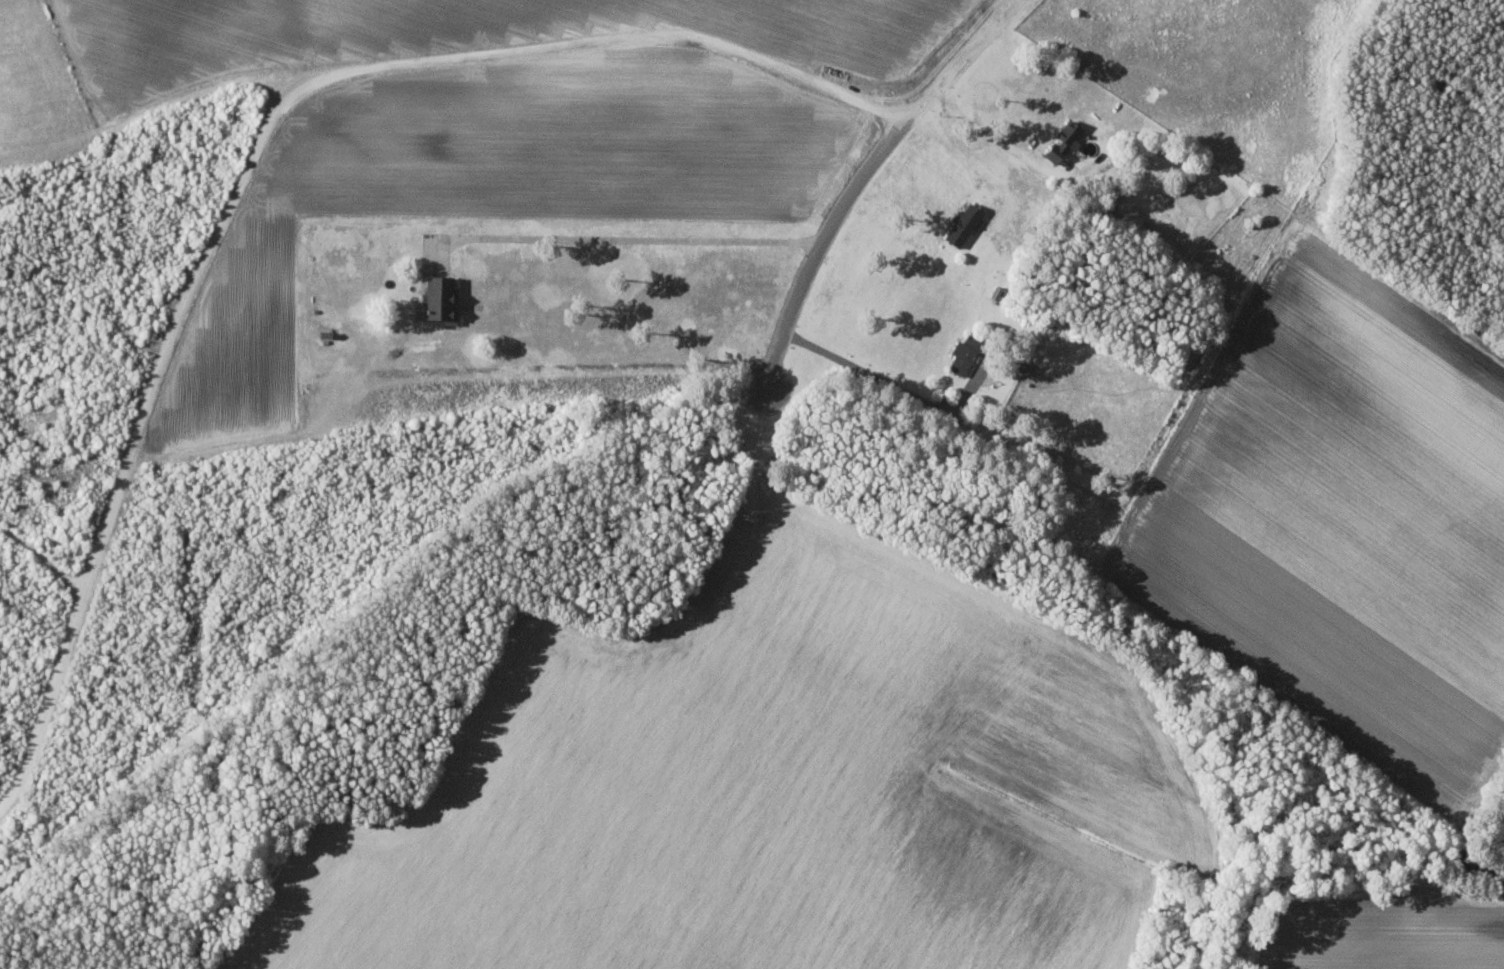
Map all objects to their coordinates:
building: (1062, 142)
road: (251, 161)
road: (864, 175)
building: (961, 224)
road: (635, 232)
building: (439, 303)
building: (962, 354)
building: (1024, 367)
road: (45, 560)

